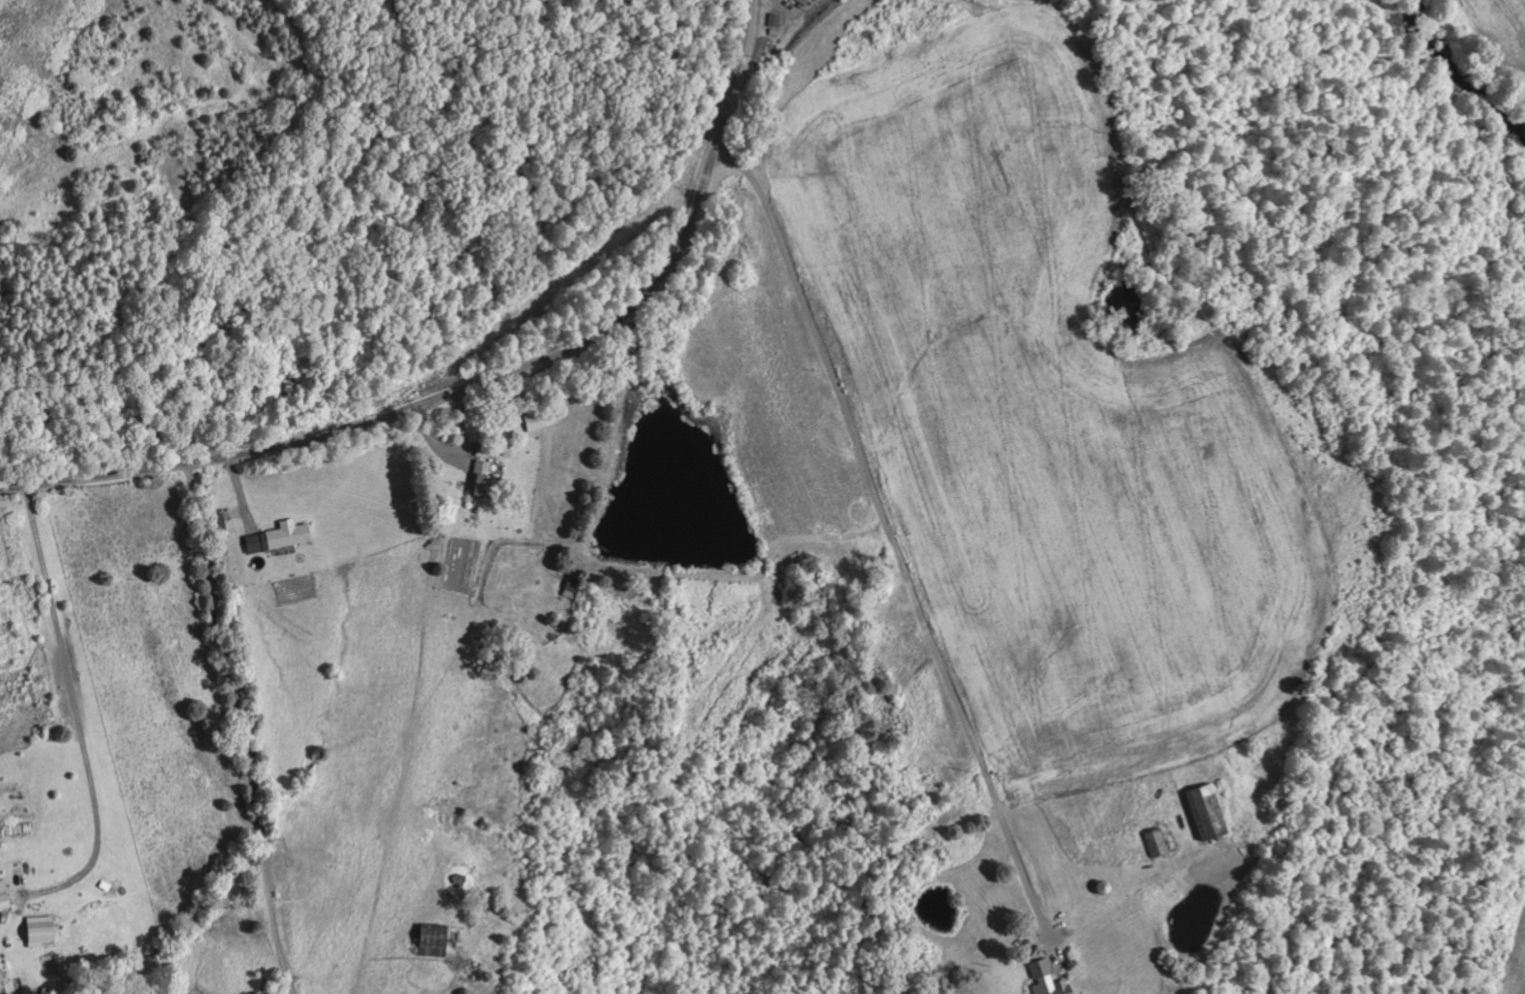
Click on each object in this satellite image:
building: (806, 1)
building: (775, 24)
road: (487, 381)
building: (485, 480)
road: (875, 523)
building: (282, 537)
road: (238, 730)
building: (1209, 813)
building: (1158, 843)
building: (0, 873)
building: (5, 896)
building: (437, 939)

